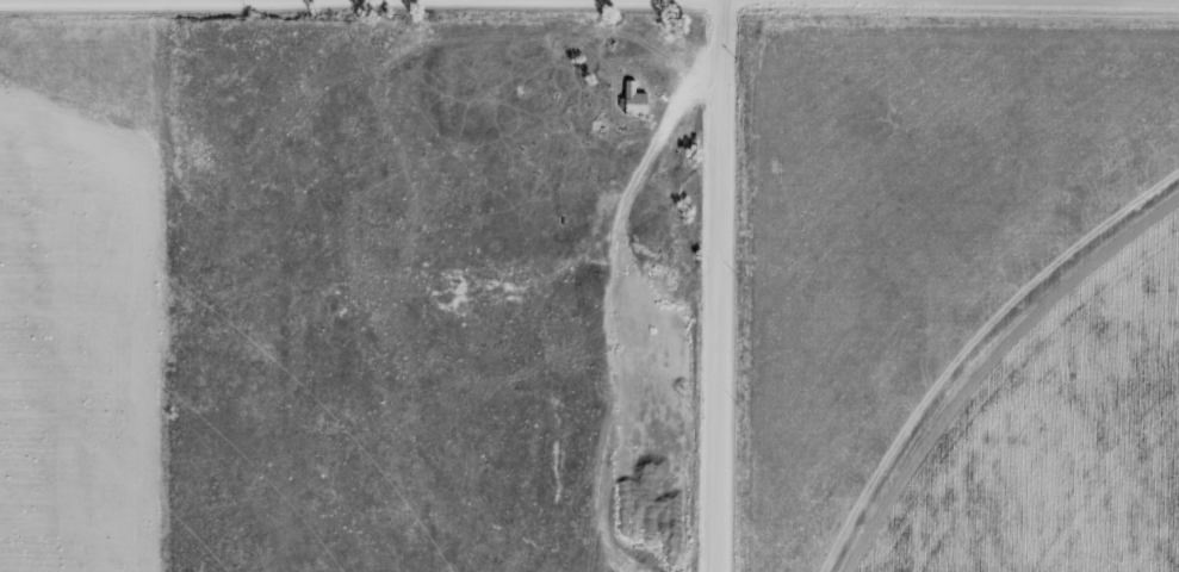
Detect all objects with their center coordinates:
building: (637, 101)
road: (769, 286)

